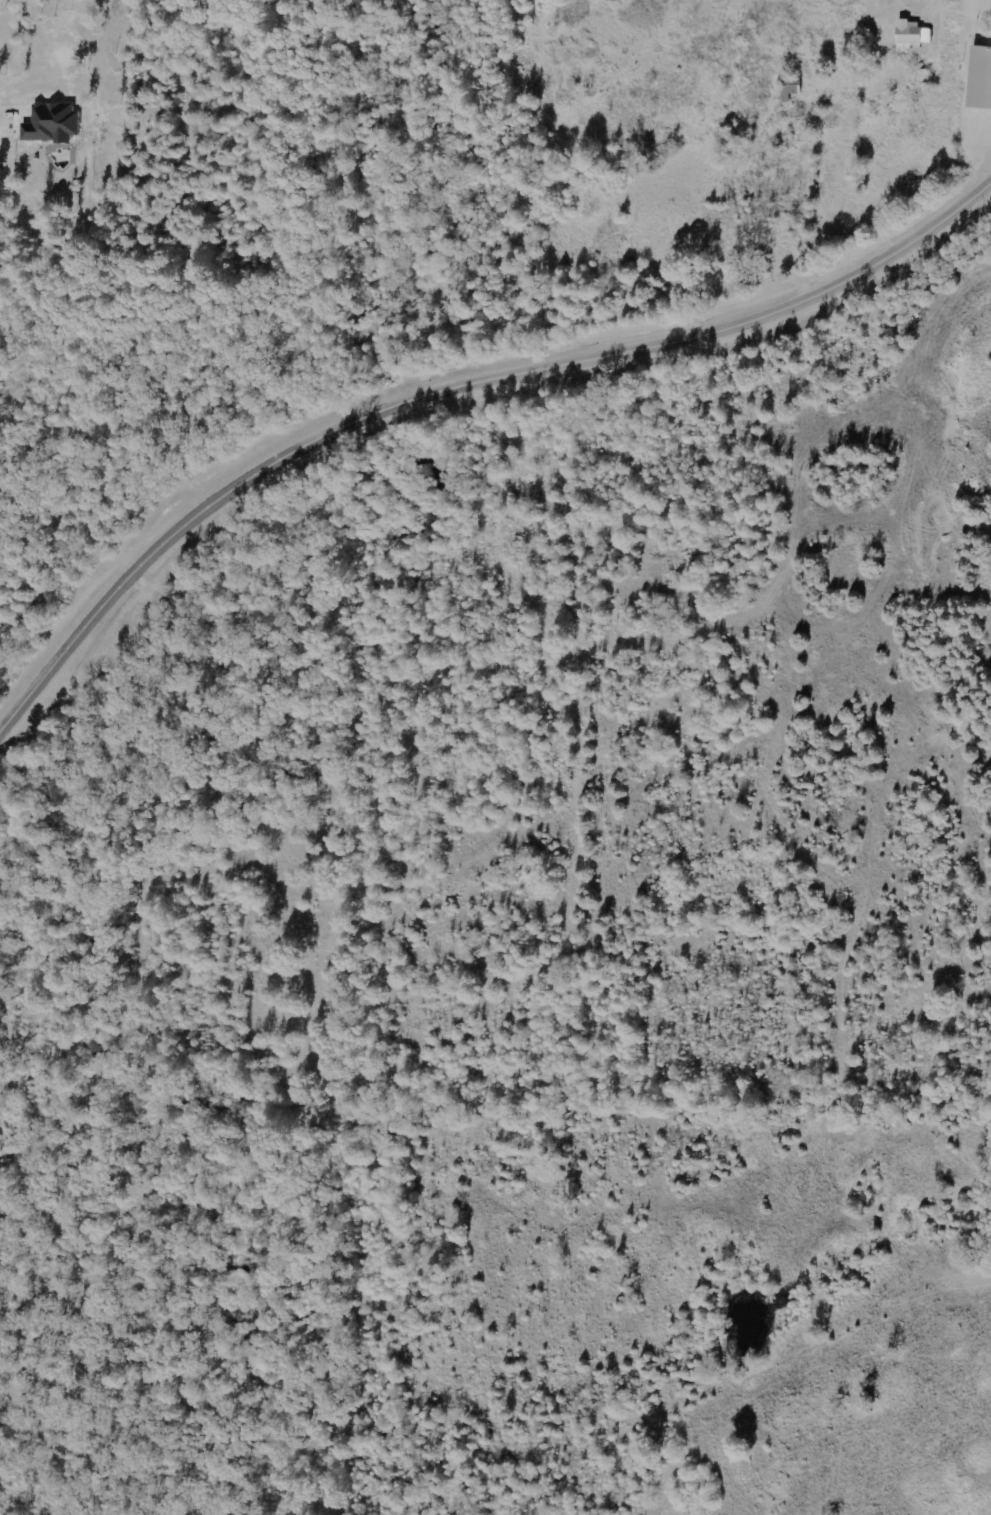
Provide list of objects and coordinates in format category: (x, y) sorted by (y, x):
building: (914, 34)
building: (982, 77)
building: (55, 121)
road: (454, 387)

